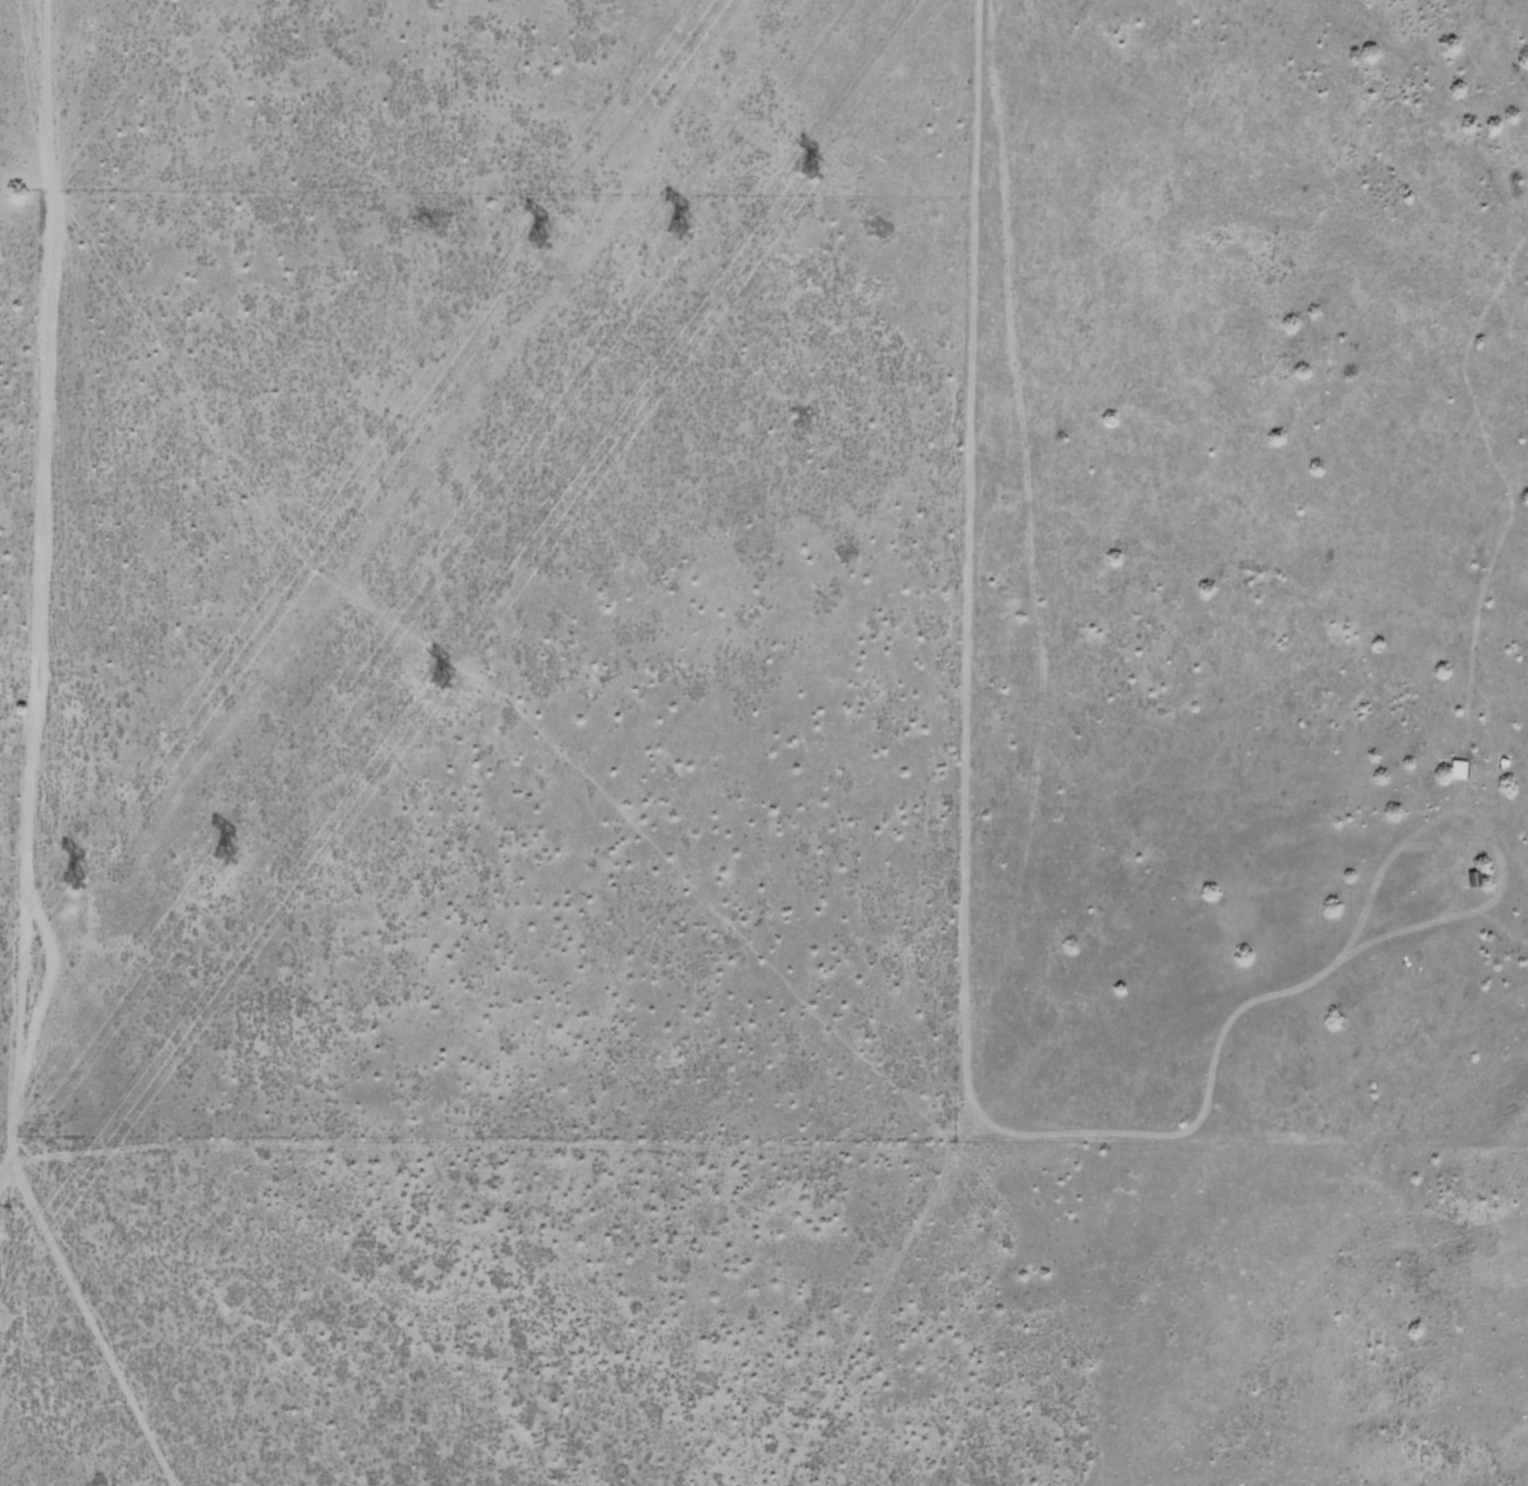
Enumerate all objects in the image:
power tower: (825, 168)
power tower: (698, 208)
power tower: (540, 219)
power tower: (449, 692)
building: (1455, 770)
power tower: (233, 855)
power tower: (74, 866)

